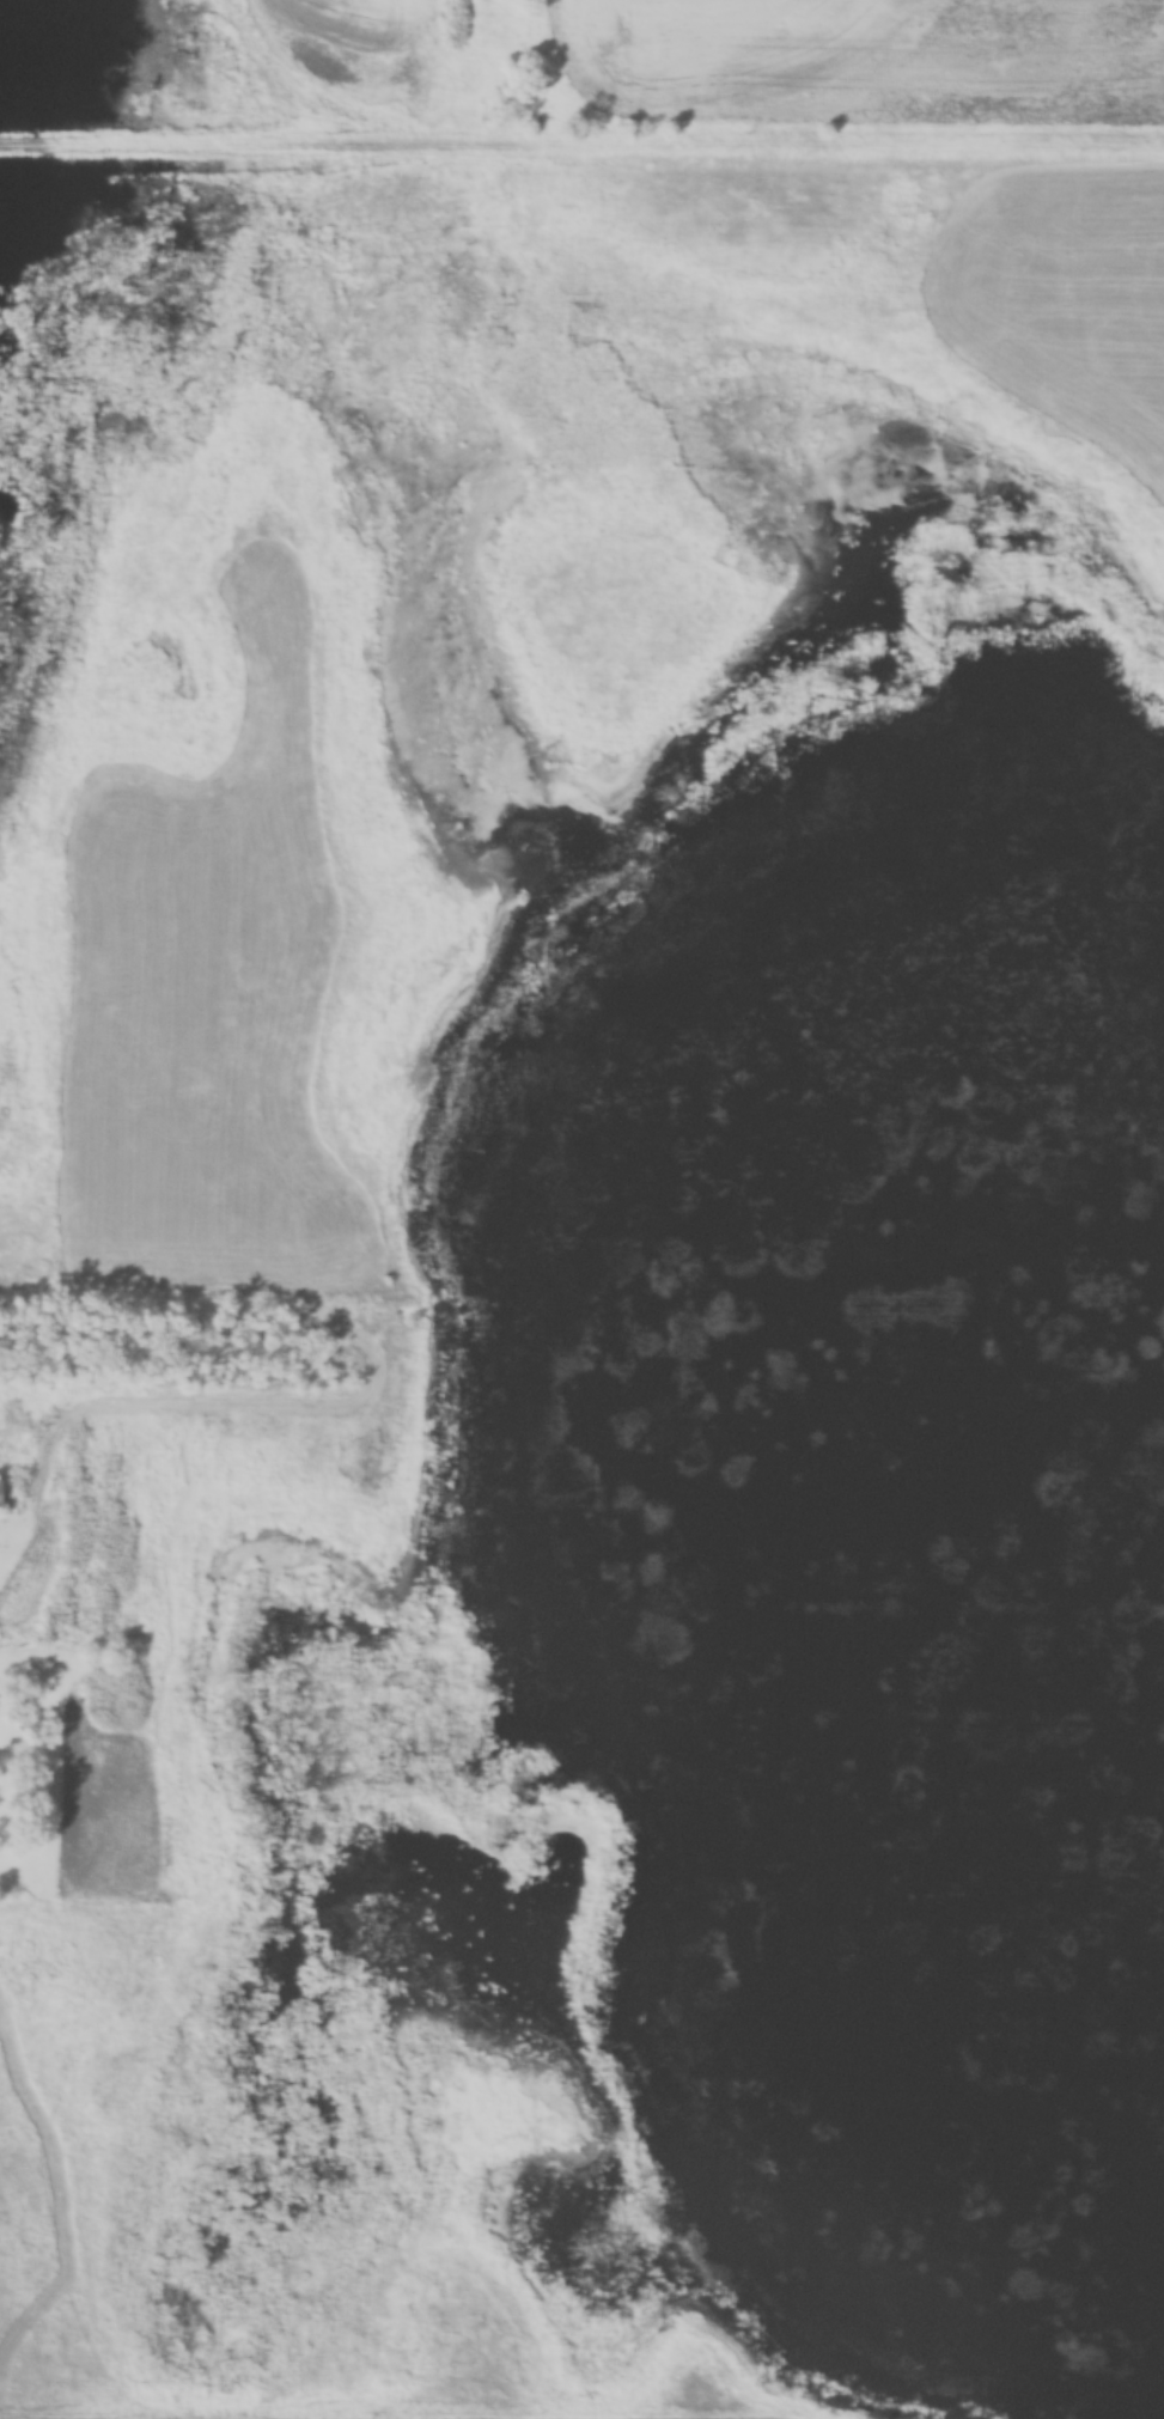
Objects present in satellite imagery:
road: (581, 144)
building: (4, 1493)

